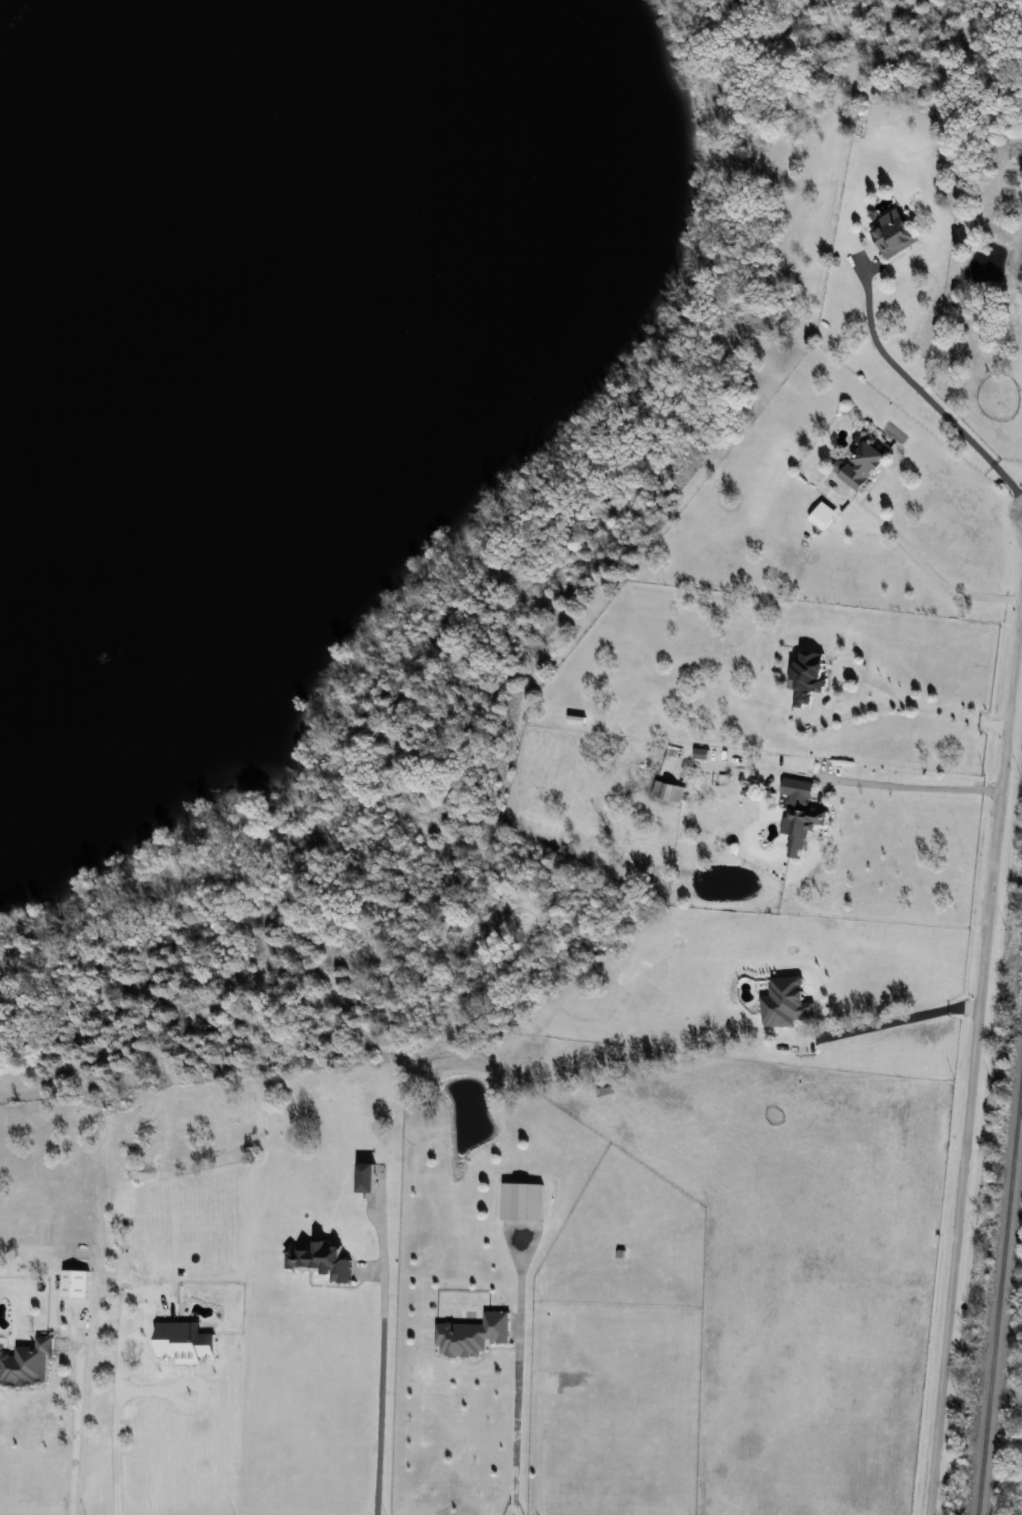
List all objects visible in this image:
building: (893, 233)
road: (922, 390)
building: (861, 463)
road: (933, 572)
building: (810, 676)
road: (869, 677)
road: (916, 787)
building: (798, 788)
building: (668, 791)
building: (801, 827)
building: (786, 1002)
road: (890, 1020)
road: (973, 1061)
building: (368, 1178)
building: (523, 1201)
building: (322, 1260)
building: (75, 1283)
railway: (998, 1291)
building: (473, 1334)
road: (375, 1358)
building: (27, 1363)
road: (512, 1375)
road: (112, 1376)
road: (72, 1411)

